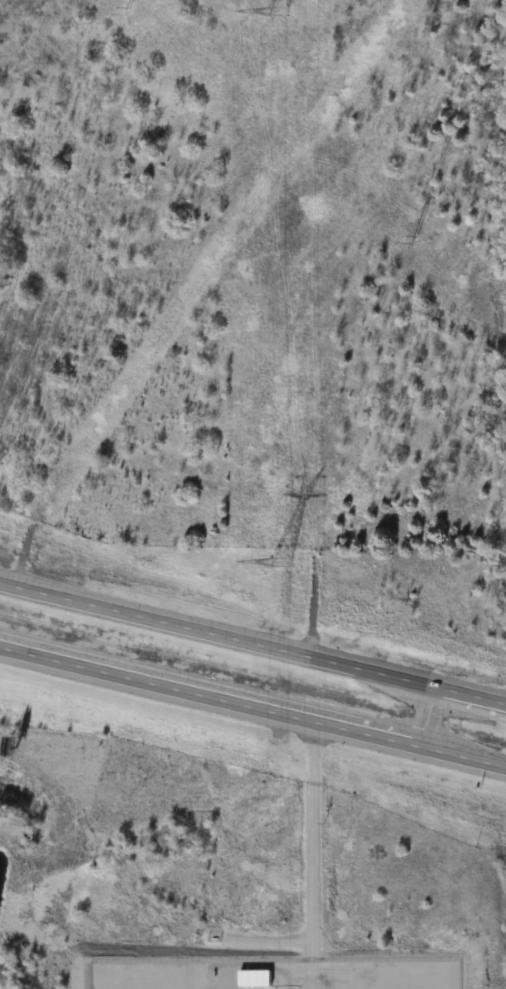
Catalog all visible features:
power tower: (120, 13)
power tower: (273, 13)
power tower: (402, 239)
power tower: (270, 568)
road: (252, 639)
road: (252, 705)
road: (415, 711)
power substation: (277, 975)
building: (252, 979)

